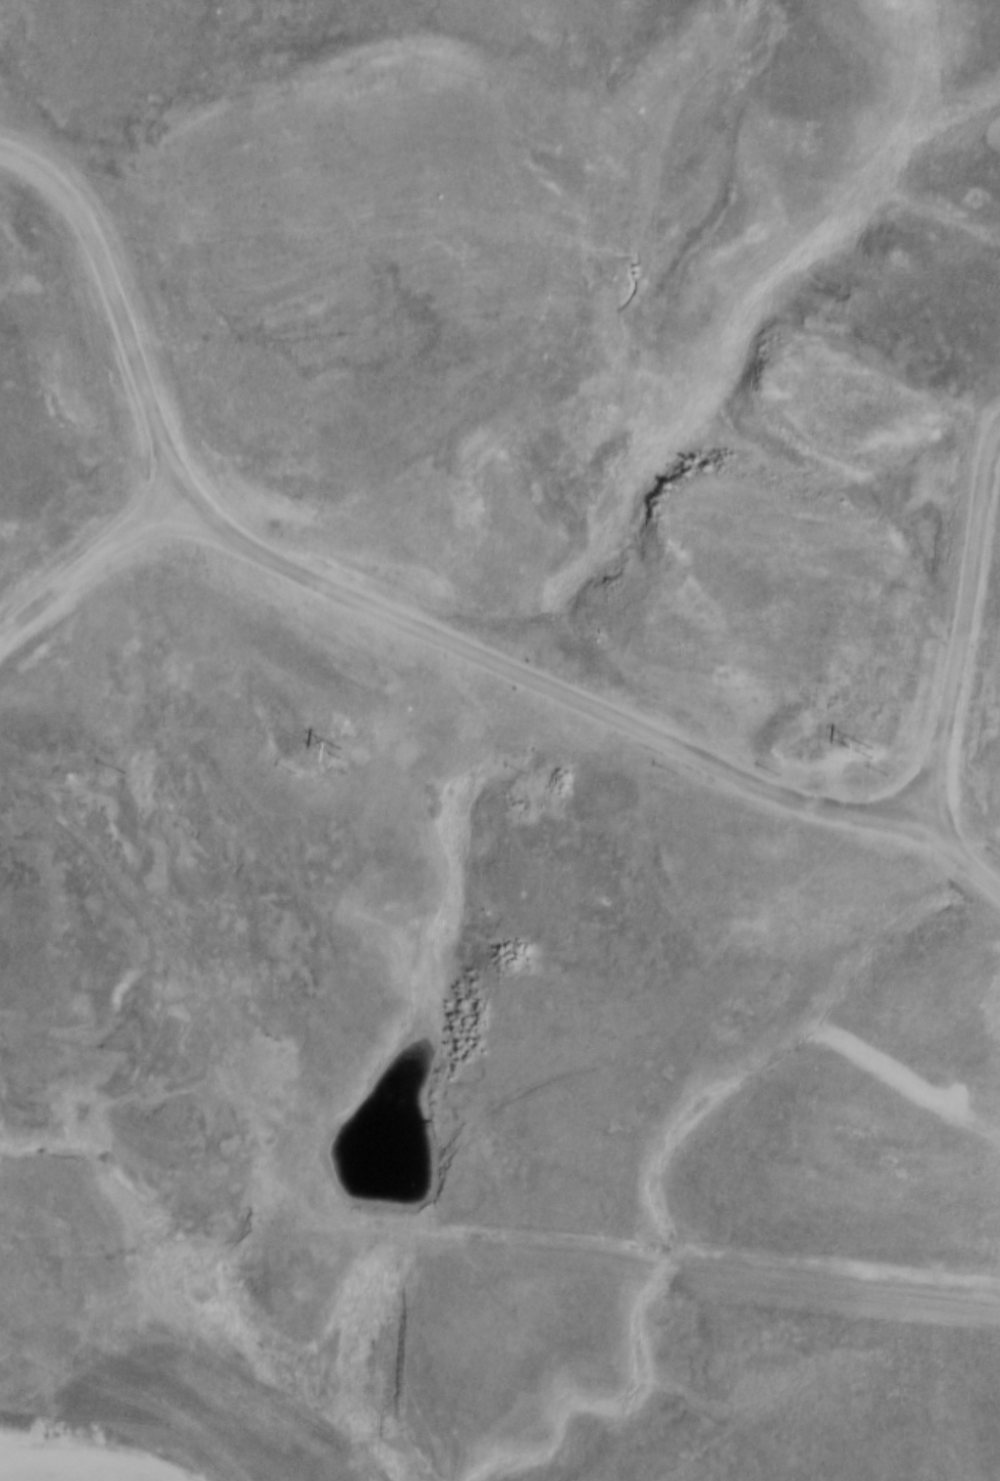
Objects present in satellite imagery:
quarry: (275, 415)
road: (954, 626)
quarry: (791, 723)

